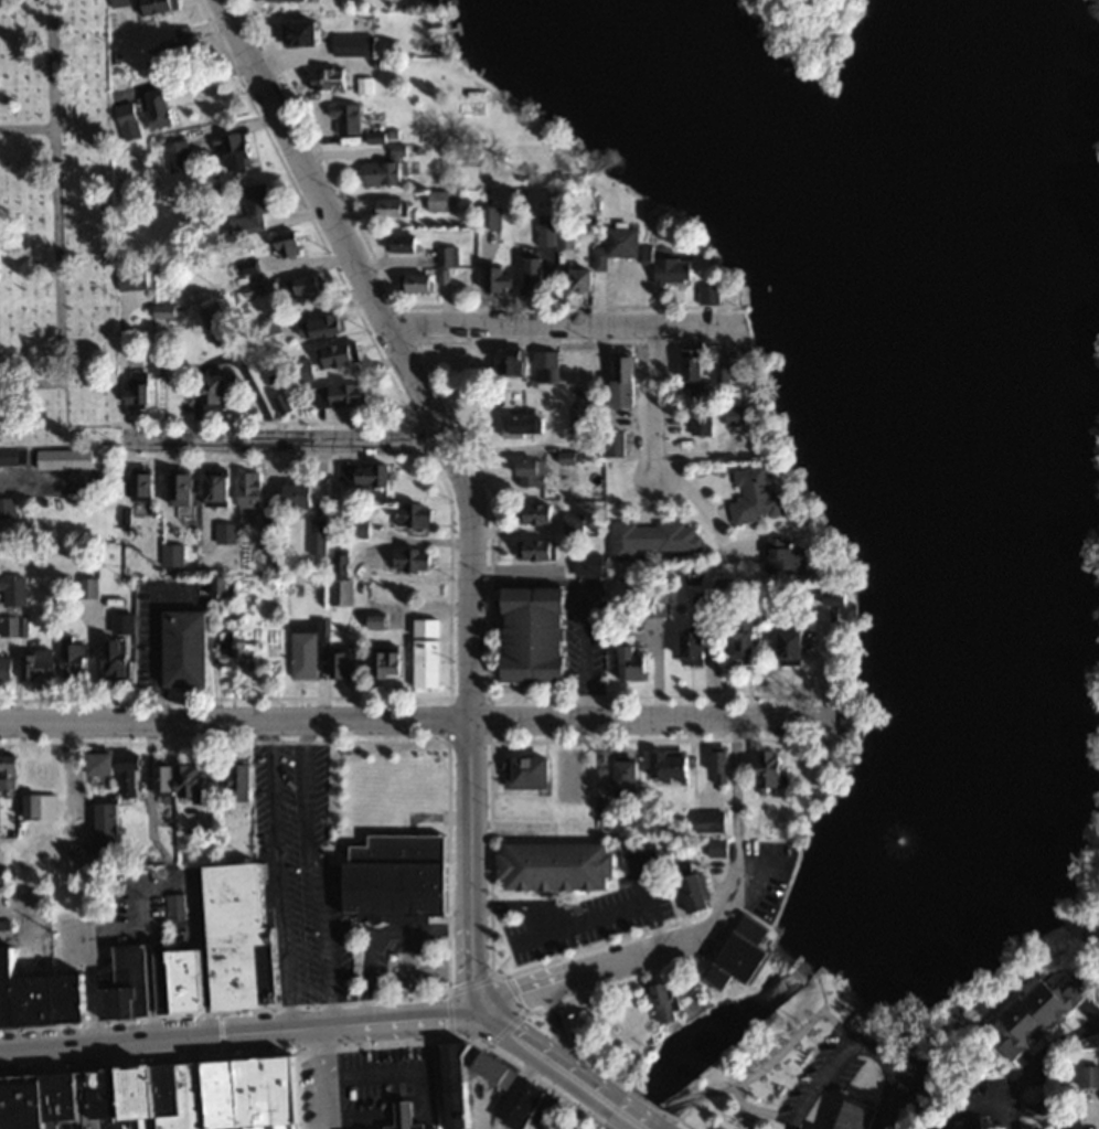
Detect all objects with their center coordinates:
building: (119, 2)
building: (158, 7)
building: (303, 31)
building: (355, 43)
building: (184, 44)
building: (330, 78)
building: (159, 106)
building: (350, 118)
building: (239, 150)
building: (179, 155)
building: (388, 168)
building: (441, 200)
building: (393, 207)
building: (254, 210)
building: (489, 217)
park: (56, 227)
building: (558, 236)
building: (409, 242)
building: (290, 243)
building: (610, 254)
building: (448, 255)
building: (676, 269)
building: (535, 273)
building: (134, 277)
building: (500, 278)
building: (427, 280)
building: (305, 285)
building: (712, 292)
building: (168, 309)
building: (218, 324)
building: (269, 326)
road: (568, 326)
building: (339, 354)
building: (519, 363)
building: (547, 365)
building: (697, 369)
building: (629, 380)
building: (139, 387)
building: (220, 388)
building: (352, 393)
building: (322, 395)
road: (654, 400)
building: (284, 403)
building: (739, 414)
building: (526, 424)
building: (704, 424)
road: (285, 440)
building: (615, 441)
building: (31, 454)
building: (575, 455)
building: (8, 456)
building: (533, 471)
building: (367, 473)
road: (463, 475)
building: (145, 483)
building: (217, 484)
building: (183, 488)
building: (250, 488)
building: (299, 493)
building: (759, 496)
building: (9, 507)
building: (541, 511)
building: (417, 512)
building: (576, 521)
building: (359, 528)
building: (225, 531)
building: (319, 534)
building: (654, 536)
building: (540, 547)
building: (787, 553)
building: (415, 557)
building: (1, 560)
building: (590, 563)
river: (951, 584)
building: (87, 585)
building: (223, 585)
building: (727, 586)
building: (15, 588)
building: (340, 589)
building: (657, 603)
building: (426, 626)
building: (541, 632)
building: (750, 633)
building: (7, 642)
building: (306, 645)
building: (697, 646)
building: (797, 646)
building: (189, 647)
building: (236, 650)
building: (118, 657)
building: (56, 661)
building: (388, 661)
building: (427, 661)
building: (349, 662)
building: (636, 662)
building: (853, 717)
road: (423, 721)
building: (673, 765)
building: (724, 766)
building: (119, 768)
building: (775, 768)
building: (11, 769)
building: (532, 770)
building: (40, 771)
building: (167, 778)
building: (194, 779)
building: (244, 780)
building: (633, 780)
building: (713, 820)
building: (98, 840)
building: (356, 845)
building: (718, 846)
building: (563, 865)
building: (397, 886)
building: (173, 905)
road: (671, 944)
building: (224, 946)
building: (746, 952)
building: (127, 983)
road: (520, 993)
building: (42, 994)
building: (670, 1001)
traffic signals: (492, 1003)
building: (1041, 1014)
road: (558, 1029)
road: (247, 1032)
road: (531, 1041)
park: (792, 1053)
building: (1090, 1075)
building: (463, 1083)
road: (596, 1086)
road: (707, 1089)
building: (161, 1096)
building: (537, 1106)
building: (412, 1114)
road: (638, 1114)
building: (858, 1116)
building: (965, 1125)

